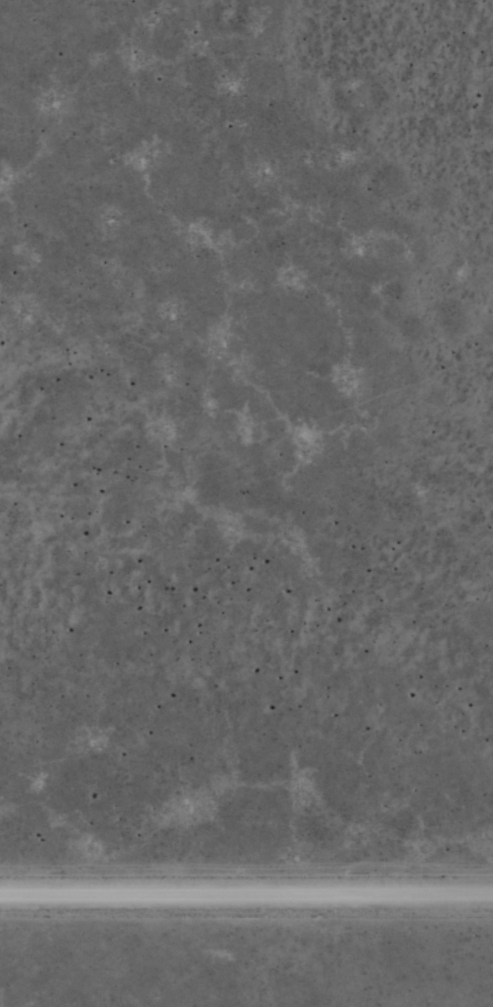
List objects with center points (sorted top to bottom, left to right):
road: (246, 904)

